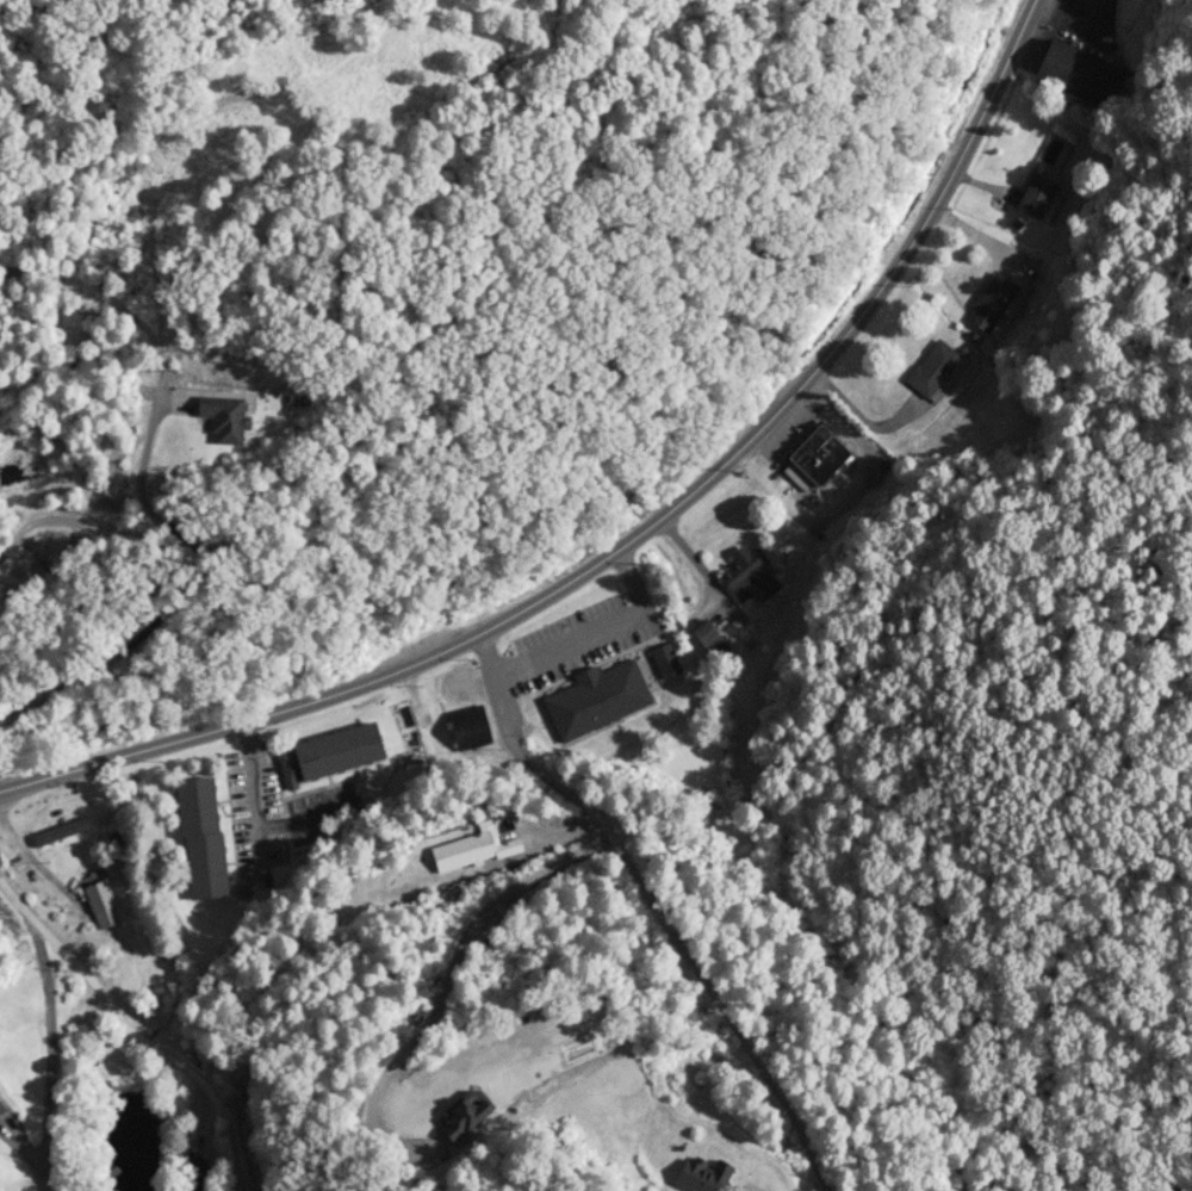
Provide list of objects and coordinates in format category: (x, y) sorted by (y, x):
building: (1076, 74)
building: (1035, 197)
building: (992, 303)
building: (931, 368)
building: (223, 418)
building: (813, 461)
road: (138, 477)
road: (629, 538)
building: (747, 576)
road: (198, 577)
road: (14, 595)
building: (709, 643)
building: (663, 671)
building: (455, 678)
building: (468, 736)
building: (328, 753)
road: (255, 783)
building: (199, 838)
building: (468, 850)
building: (100, 902)
road: (654, 904)
road: (136, 1035)
building: (1, 1105)
building: (462, 1114)
building: (191, 1174)
building: (700, 1176)

